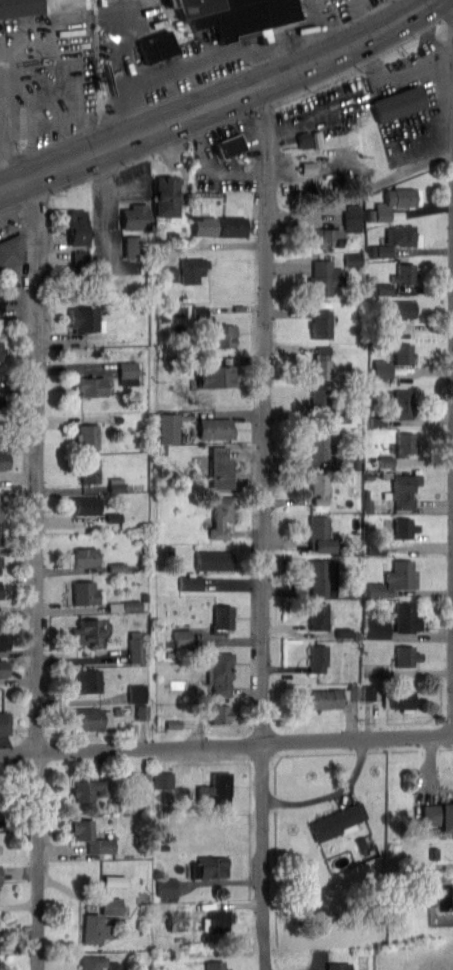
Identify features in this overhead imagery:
building: (21, 6)
road: (369, 11)
road: (319, 13)
building: (231, 15)
road: (434, 20)
road: (430, 34)
road: (307, 39)
parking lot: (195, 40)
road: (397, 42)
road: (118, 44)
building: (157, 45)
road: (204, 58)
road: (368, 58)
road: (436, 66)
road: (68, 73)
parking lot: (45, 75)
road: (208, 81)
road: (315, 82)
road: (219, 100)
road: (1, 101)
building: (400, 101)
parking lot: (413, 101)
road: (260, 106)
parking lot: (321, 112)
road: (311, 114)
road: (117, 118)
road: (184, 137)
building: (303, 138)
building: (317, 138)
road: (58, 142)
building: (230, 144)
parking lot: (226, 156)
road: (4, 158)
road: (15, 158)
building: (310, 166)
road: (105, 168)
road: (218, 173)
road: (71, 183)
road: (361, 190)
road: (125, 192)
building: (169, 194)
road: (34, 197)
building: (396, 202)
road: (9, 207)
road: (108, 207)
building: (137, 215)
building: (354, 216)
parking lot: (123, 220)
parking lot: (9, 223)
building: (80, 225)
building: (221, 225)
building: (330, 235)
building: (400, 237)
building: (134, 245)
building: (12, 249)
building: (354, 257)
building: (81, 258)
building: (193, 267)
building: (174, 272)
building: (405, 272)
building: (326, 275)
building: (382, 288)
building: (406, 306)
building: (10, 308)
building: (200, 311)
building: (88, 318)
building: (408, 321)
building: (322, 322)
building: (226, 334)
road: (19, 335)
building: (2, 349)
building: (404, 352)
building: (322, 361)
building: (128, 367)
building: (382, 368)
building: (398, 368)
building: (217, 375)
building: (128, 380)
building: (92, 385)
building: (320, 397)
building: (2, 400)
building: (403, 402)
building: (342, 416)
building: (377, 418)
building: (170, 426)
building: (216, 426)
building: (88, 433)
building: (405, 444)
building: (320, 446)
building: (5, 459)
building: (344, 459)
building: (386, 460)
building: (357, 462)
building: (222, 466)
building: (88, 469)
building: (367, 473)
building: (385, 473)
building: (115, 482)
building: (320, 487)
building: (404, 489)
building: (367, 493)
building: (385, 494)
building: (85, 504)
building: (368, 504)
building: (3, 509)
building: (221, 515)
building: (113, 516)
road: (269, 525)
building: (405, 526)
building: (1, 534)
building: (321, 534)
building: (376, 546)
building: (171, 549)
building: (163, 550)
building: (85, 556)
building: (214, 559)
building: (0, 565)
building: (116, 565)
road: (38, 572)
building: (323, 576)
building: (393, 578)
building: (190, 582)
building: (1, 588)
building: (84, 591)
building: (354, 591)
building: (144, 595)
building: (125, 604)
building: (319, 615)
building: (225, 616)
building: (408, 616)
building: (378, 628)
building: (91, 630)
building: (344, 631)
building: (183, 636)
building: (5, 639)
building: (135, 645)
building: (407, 655)
building: (318, 657)
building: (5, 666)
building: (221, 671)
building: (89, 679)
building: (136, 691)
building: (339, 694)
building: (400, 697)
building: (118, 709)
building: (142, 710)
building: (223, 712)
building: (94, 717)
building: (5, 721)
building: (175, 723)
road: (226, 742)
building: (144, 776)
building: (163, 778)
building: (91, 788)
building: (216, 788)
building: (165, 794)
building: (438, 814)
building: (339, 819)
building: (93, 835)
building: (363, 842)
building: (432, 852)
building: (212, 865)
building: (1, 873)
building: (116, 879)
building: (167, 886)
building: (112, 904)
building: (217, 919)
building: (175, 920)
building: (91, 927)
building: (0, 936)
building: (92, 962)
building: (113, 965)
building: (216, 965)
building: (338, 965)

